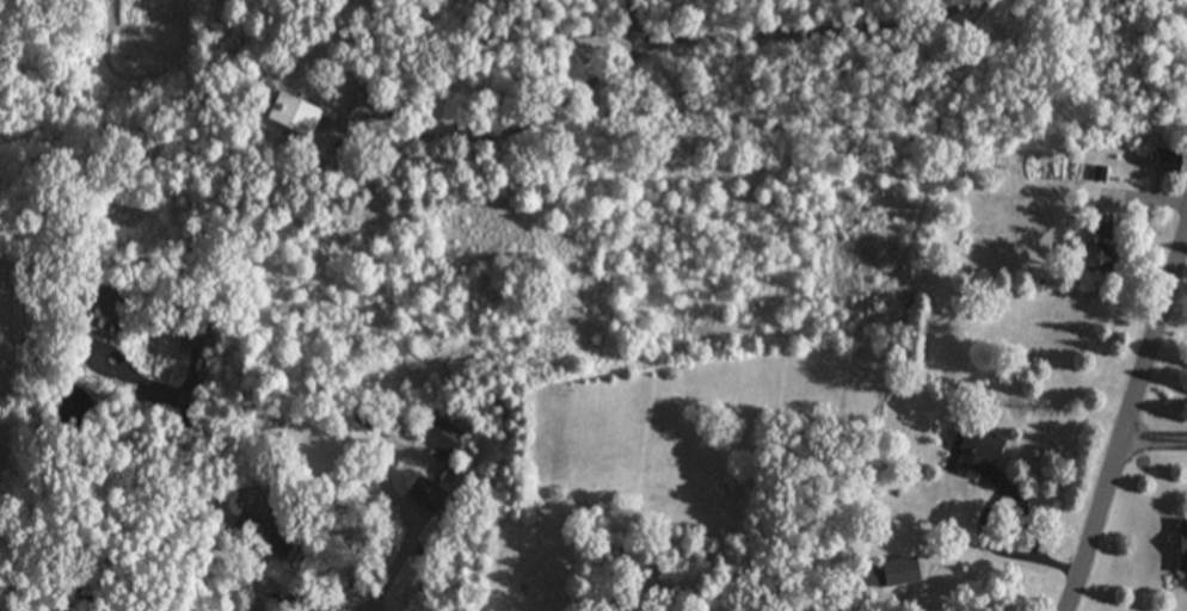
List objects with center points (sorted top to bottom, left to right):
road: (574, 36)
road: (642, 41)
building: (288, 115)
building: (1161, 163)
building: (1099, 246)
building: (102, 315)
road: (1128, 422)
building: (441, 432)
building: (974, 451)
road: (1154, 452)
road: (183, 486)
building: (425, 494)
building: (262, 535)
building: (1181, 549)
building: (871, 576)
road: (406, 580)
road: (264, 603)

